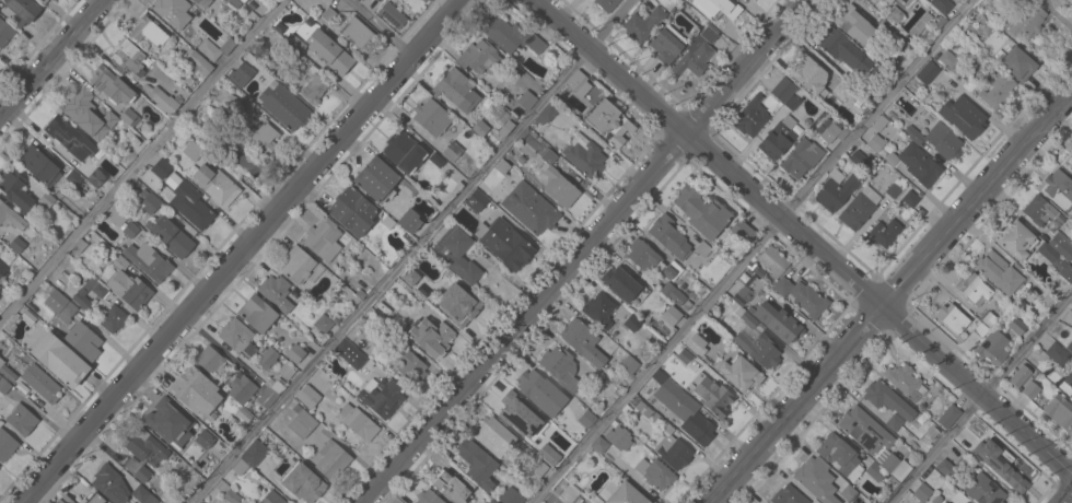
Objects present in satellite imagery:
building: (51, 0)
building: (53, 0)
building: (242, 0)
building: (377, 0)
building: (876, 0)
building: (881, 0)
building: (423, 1)
building: (1070, 1)
building: (202, 2)
building: (234, 2)
building: (905, 2)
building: (606, 4)
building: (942, 5)
building: (722, 8)
building: (23, 9)
building: (172, 12)
building: (394, 12)
building: (327, 14)
building: (894, 14)
building: (1027, 20)
building: (976, 21)
building: (643, 24)
building: (854, 24)
building: (919, 25)
road: (383, 27)
building: (148, 32)
building: (4, 33)
building: (357, 34)
building: (511, 36)
building: (295, 43)
building: (666, 44)
building: (215, 48)
building: (842, 49)
building: (328, 51)
building: (696, 52)
building: (128, 57)
building: (477, 57)
road: (51, 58)
building: (298, 58)
building: (947, 59)
building: (197, 63)
building: (1016, 65)
building: (243, 72)
building: (927, 72)
building: (809, 77)
building: (886, 82)
building: (578, 84)
building: (112, 86)
building: (314, 89)
building: (456, 90)
building: (782, 90)
building: (841, 90)
building: (994, 91)
building: (163, 101)
building: (526, 101)
building: (791, 103)
building: (246, 106)
building: (282, 106)
building: (497, 113)
building: (546, 114)
building: (88, 115)
building: (963, 116)
building: (128, 117)
building: (431, 117)
building: (750, 117)
building: (609, 122)
building: (879, 122)
building: (479, 128)
building: (505, 129)
building: (834, 131)
building: (69, 137)
building: (264, 137)
building: (778, 138)
building: (937, 140)
building: (875, 142)
building: (452, 151)
building: (403, 152)
building: (1071, 153)
building: (583, 155)
building: (801, 157)
building: (436, 160)
building: (859, 160)
building: (249, 161)
road: (142, 164)
building: (916, 164)
building: (38, 165)
building: (1069, 165)
building: (161, 167)
building: (73, 178)
building: (95, 178)
building: (376, 179)
building: (557, 183)
building: (219, 187)
building: (1059, 189)
building: (15, 190)
building: (836, 190)
building: (893, 190)
building: (910, 198)
building: (46, 200)
building: (476, 200)
building: (148, 201)
building: (187, 202)
building: (528, 208)
building: (1037, 210)
building: (352, 211)
building: (857, 211)
building: (701, 212)
building: (10, 217)
building: (117, 218)
building: (409, 221)
building: (129, 229)
building: (742, 231)
building: (883, 233)
building: (170, 236)
building: (407, 236)
road: (803, 236)
building: (668, 237)
building: (323, 239)
building: (1015, 239)
building: (16, 244)
building: (80, 244)
building: (504, 244)
building: (1061, 246)
road: (244, 250)
road: (409, 251)
road: (583, 251)
road: (755, 253)
building: (458, 254)
building: (642, 254)
building: (772, 260)
building: (149, 261)
building: (295, 265)
building: (1062, 268)
building: (2, 269)
building: (672, 270)
building: (1001, 271)
building: (408, 277)
building: (620, 283)
building: (128, 285)
building: (750, 289)
building: (974, 289)
building: (422, 290)
building: (276, 292)
building: (100, 293)
building: (672, 293)
road: (890, 294)
building: (802, 296)
building: (60, 305)
building: (464, 308)
building: (599, 309)
building: (256, 313)
building: (671, 315)
building: (28, 317)
building: (952, 317)
building: (113, 318)
building: (748, 318)
building: (989, 319)
building: (336, 320)
building: (778, 321)
building: (323, 323)
building: (632, 323)
building: (1016, 326)
building: (1071, 327)
building: (980, 329)
building: (237, 336)
building: (431, 336)
building: (83, 340)
building: (583, 341)
building: (1071, 342)
building: (695, 343)
building: (992, 347)
building: (758, 349)
building: (295, 353)
building: (349, 353)
building: (1057, 353)
building: (267, 356)
building: (60, 359)
building: (210, 360)
building: (629, 364)
building: (410, 365)
building: (560, 367)
building: (7, 371)
building: (287, 371)
building: (739, 373)
building: (1019, 376)
building: (1069, 379)
building: (906, 382)
building: (40, 383)
building: (532, 384)
building: (4, 386)
building: (242, 388)
building: (1030, 390)
building: (196, 391)
building: (270, 394)
building: (1071, 395)
building: (307, 396)
building: (382, 397)
building: (887, 399)
road: (980, 399)
building: (719, 401)
building: (685, 411)
building: (510, 412)
building: (1059, 412)
building: (948, 417)
building: (21, 418)
building: (590, 418)
building: (162, 420)
building: (541, 420)
building: (302, 422)
building: (358, 422)
building: (567, 423)
building: (864, 430)
building: (200, 435)
building: (493, 436)
building: (619, 437)
building: (143, 444)
building: (7, 445)
building: (599, 445)
building: (673, 447)
building: (986, 452)
building: (254, 453)
building: (839, 455)
building: (331, 459)
building: (477, 464)
building: (238, 466)
building: (951, 466)
building: (538, 467)
building: (896, 467)
building: (138, 469)
building: (875, 471)
building: (655, 473)
building: (1015, 475)
building: (816, 479)
building: (303, 483)
building: (110, 484)
building: (452, 487)
building: (983, 490)
building: (922, 492)
building: (570, 493)
building: (143, 494)
building: (626, 494)
building: (851, 494)
building: (231, 495)
building: (788, 495)
building: (511, 496)
building: (271, 498)
building: (428, 498)
building: (97, 499)
road: (1068, 499)
building: (65, 500)
building: (492, 501)
building: (536, 502)
building: (539, 502)
building: (944, 502)
building: (947, 502)
building: (963, 502)

